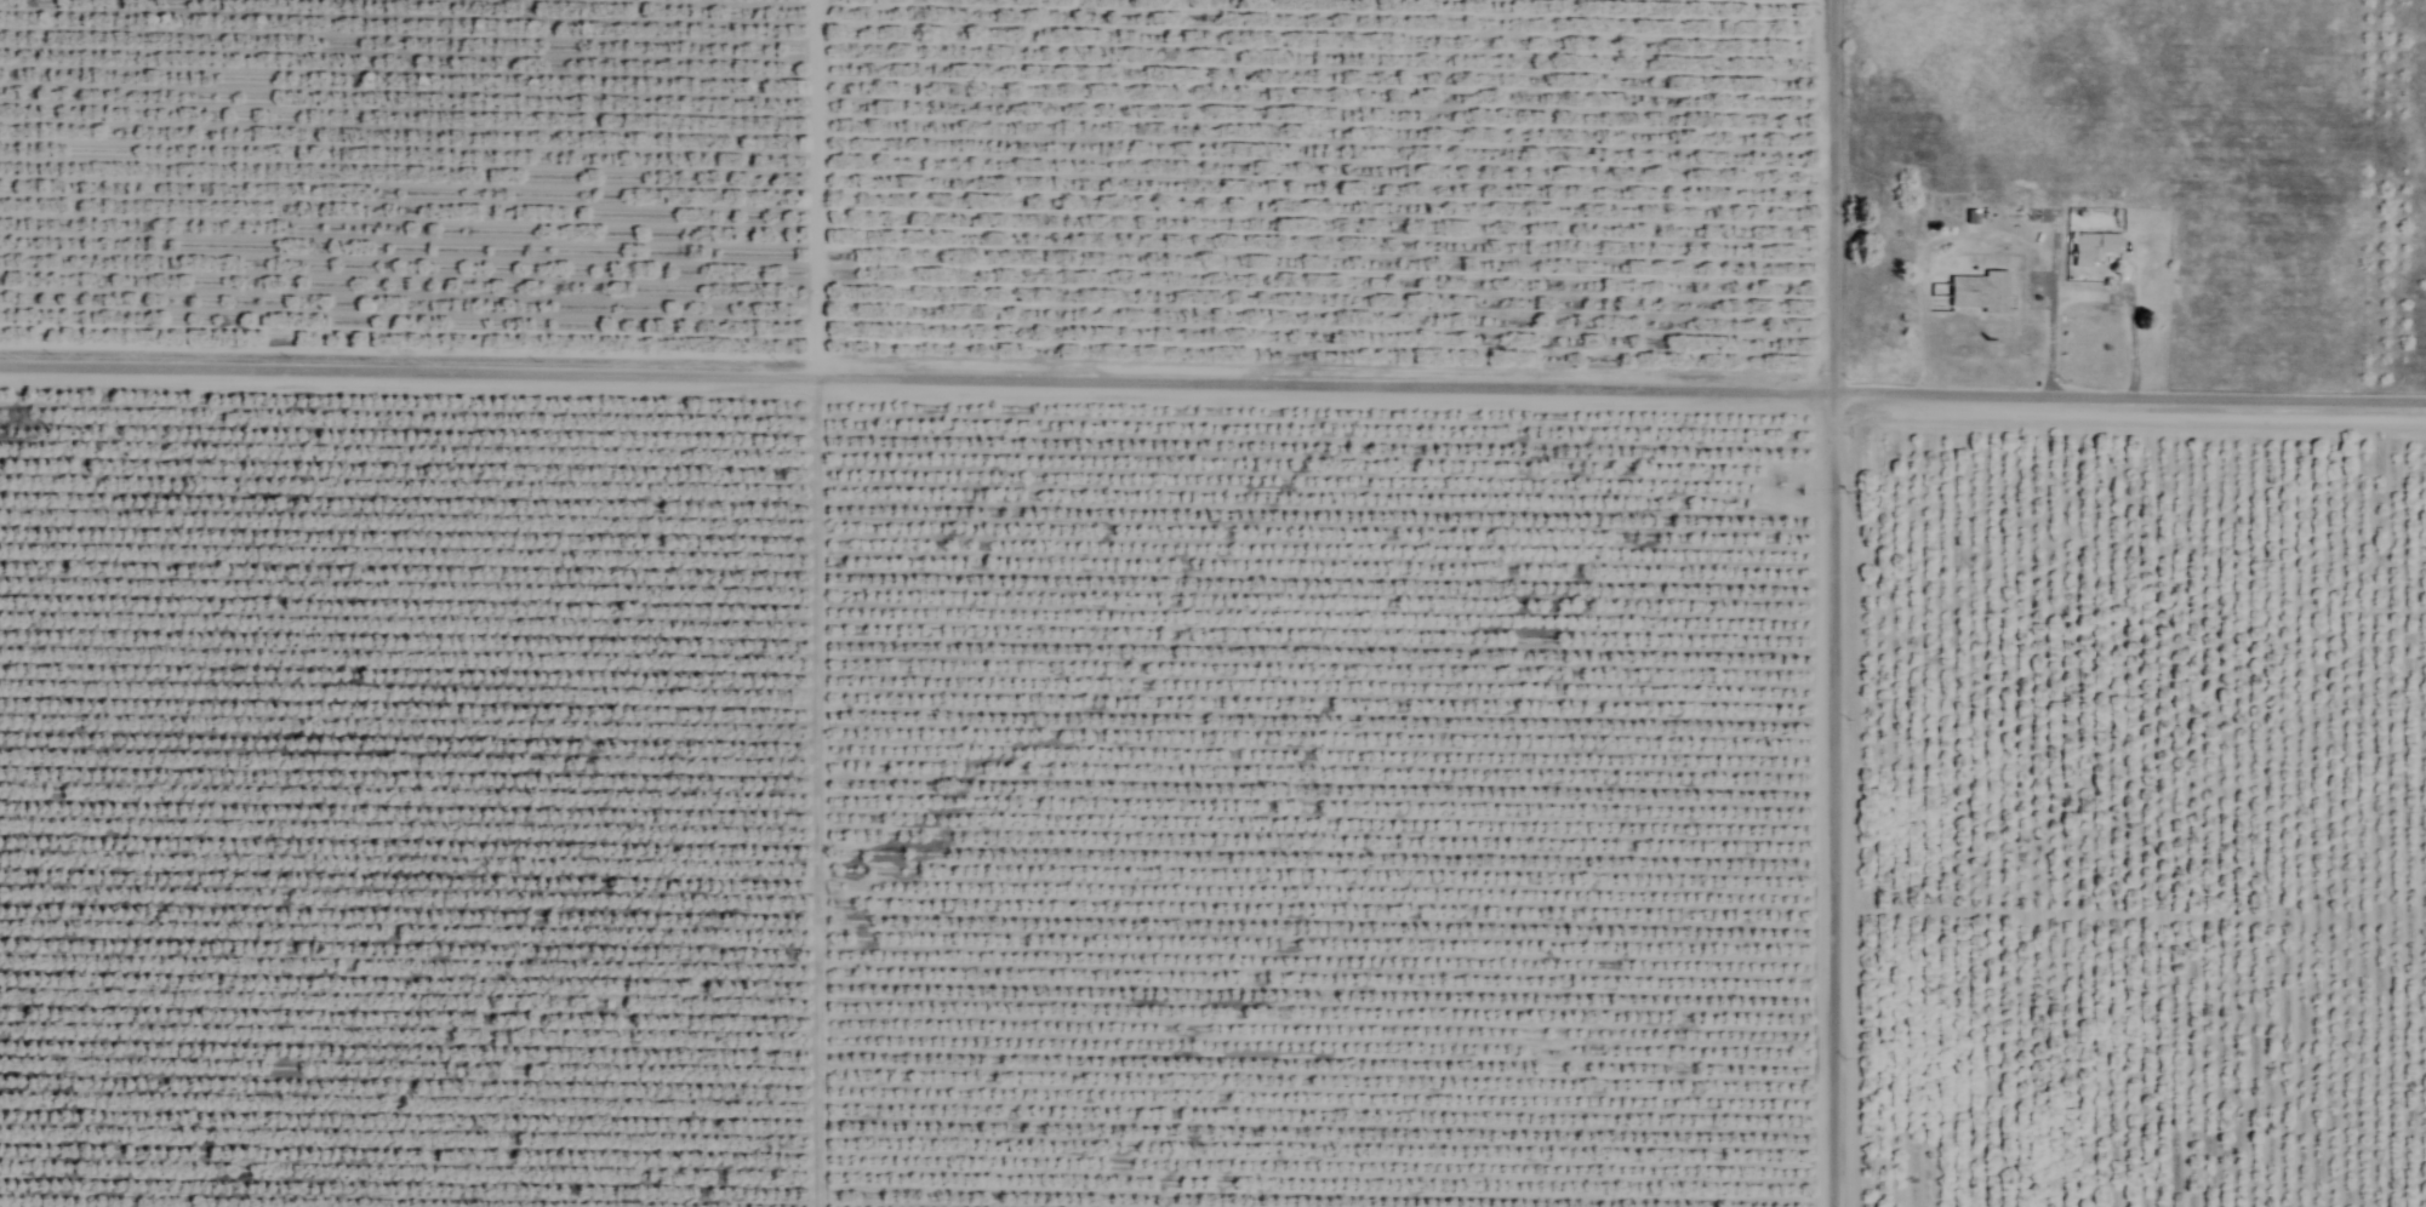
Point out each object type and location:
road: (1977, 240)
building: (2091, 250)
building: (1979, 292)
road: (2128, 315)
road: (1212, 389)
road: (1819, 603)
crop: (1128, 640)
road: (818, 795)

